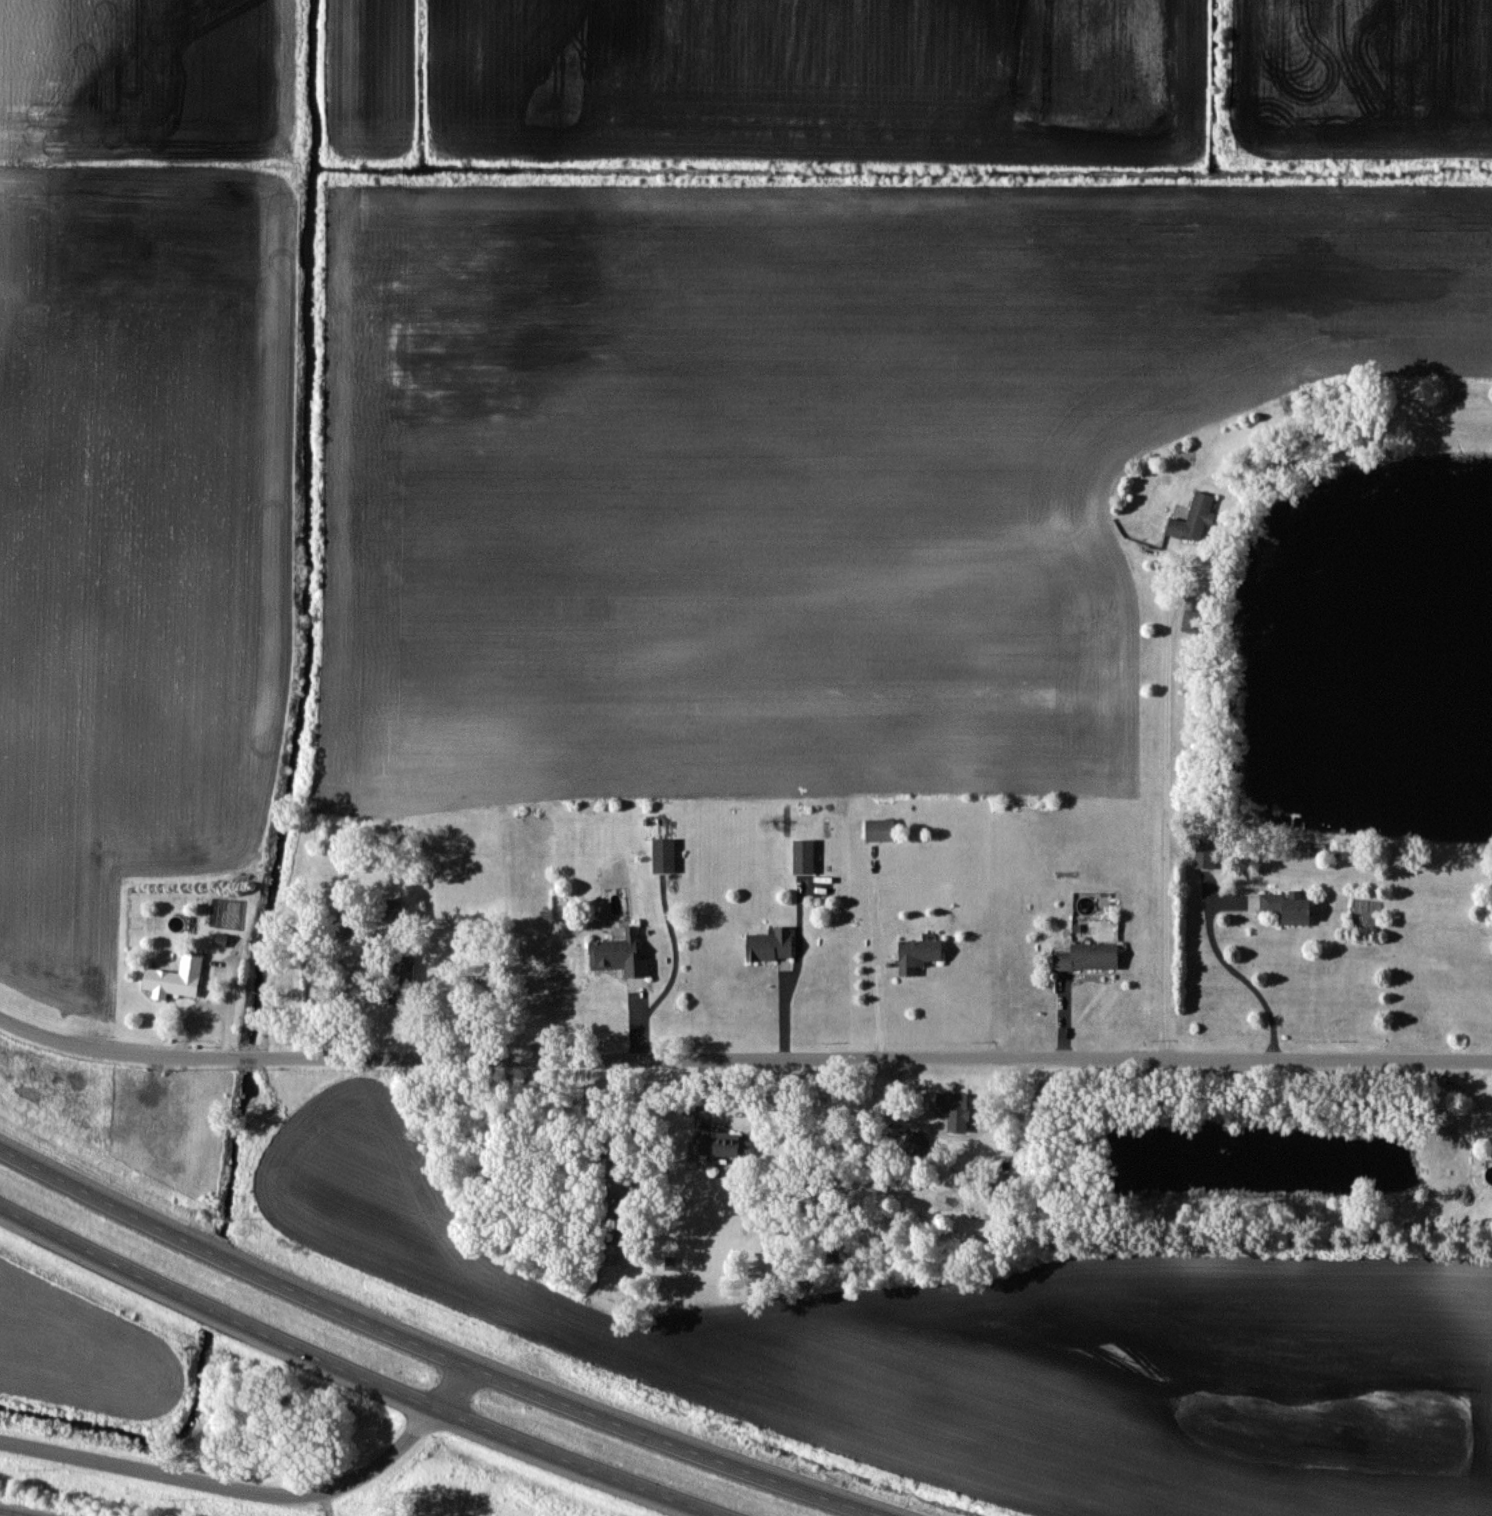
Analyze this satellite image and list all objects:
building: (1201, 456)
building: (1194, 520)
building: (1191, 621)
road: (1164, 821)
building: (880, 830)
building: (663, 854)
building: (803, 856)
building: (1491, 869)
building: (387, 908)
building: (1287, 908)
building: (771, 944)
building: (619, 953)
building: (918, 953)
building: (1089, 956)
road: (1224, 965)
building: (175, 976)
building: (401, 978)
road: (742, 1059)
building: (955, 1109)
road: (957, 1137)
building: (914, 1142)
building: (720, 1145)
road: (232, 1261)
road: (216, 1311)
road: (674, 1444)
road: (578, 1463)
road: (256, 1493)
railway: (16, 1512)

